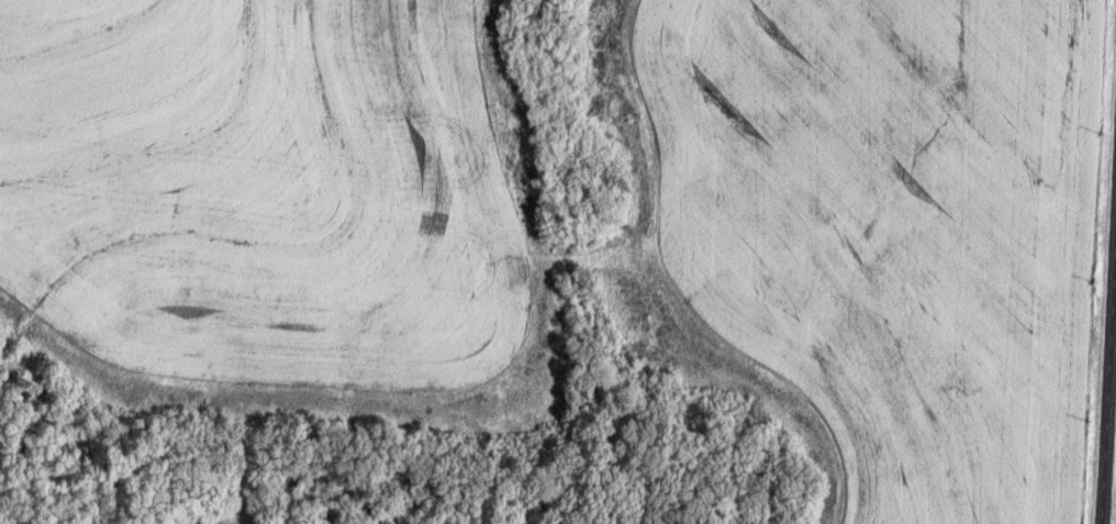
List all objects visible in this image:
road: (1108, 391)

